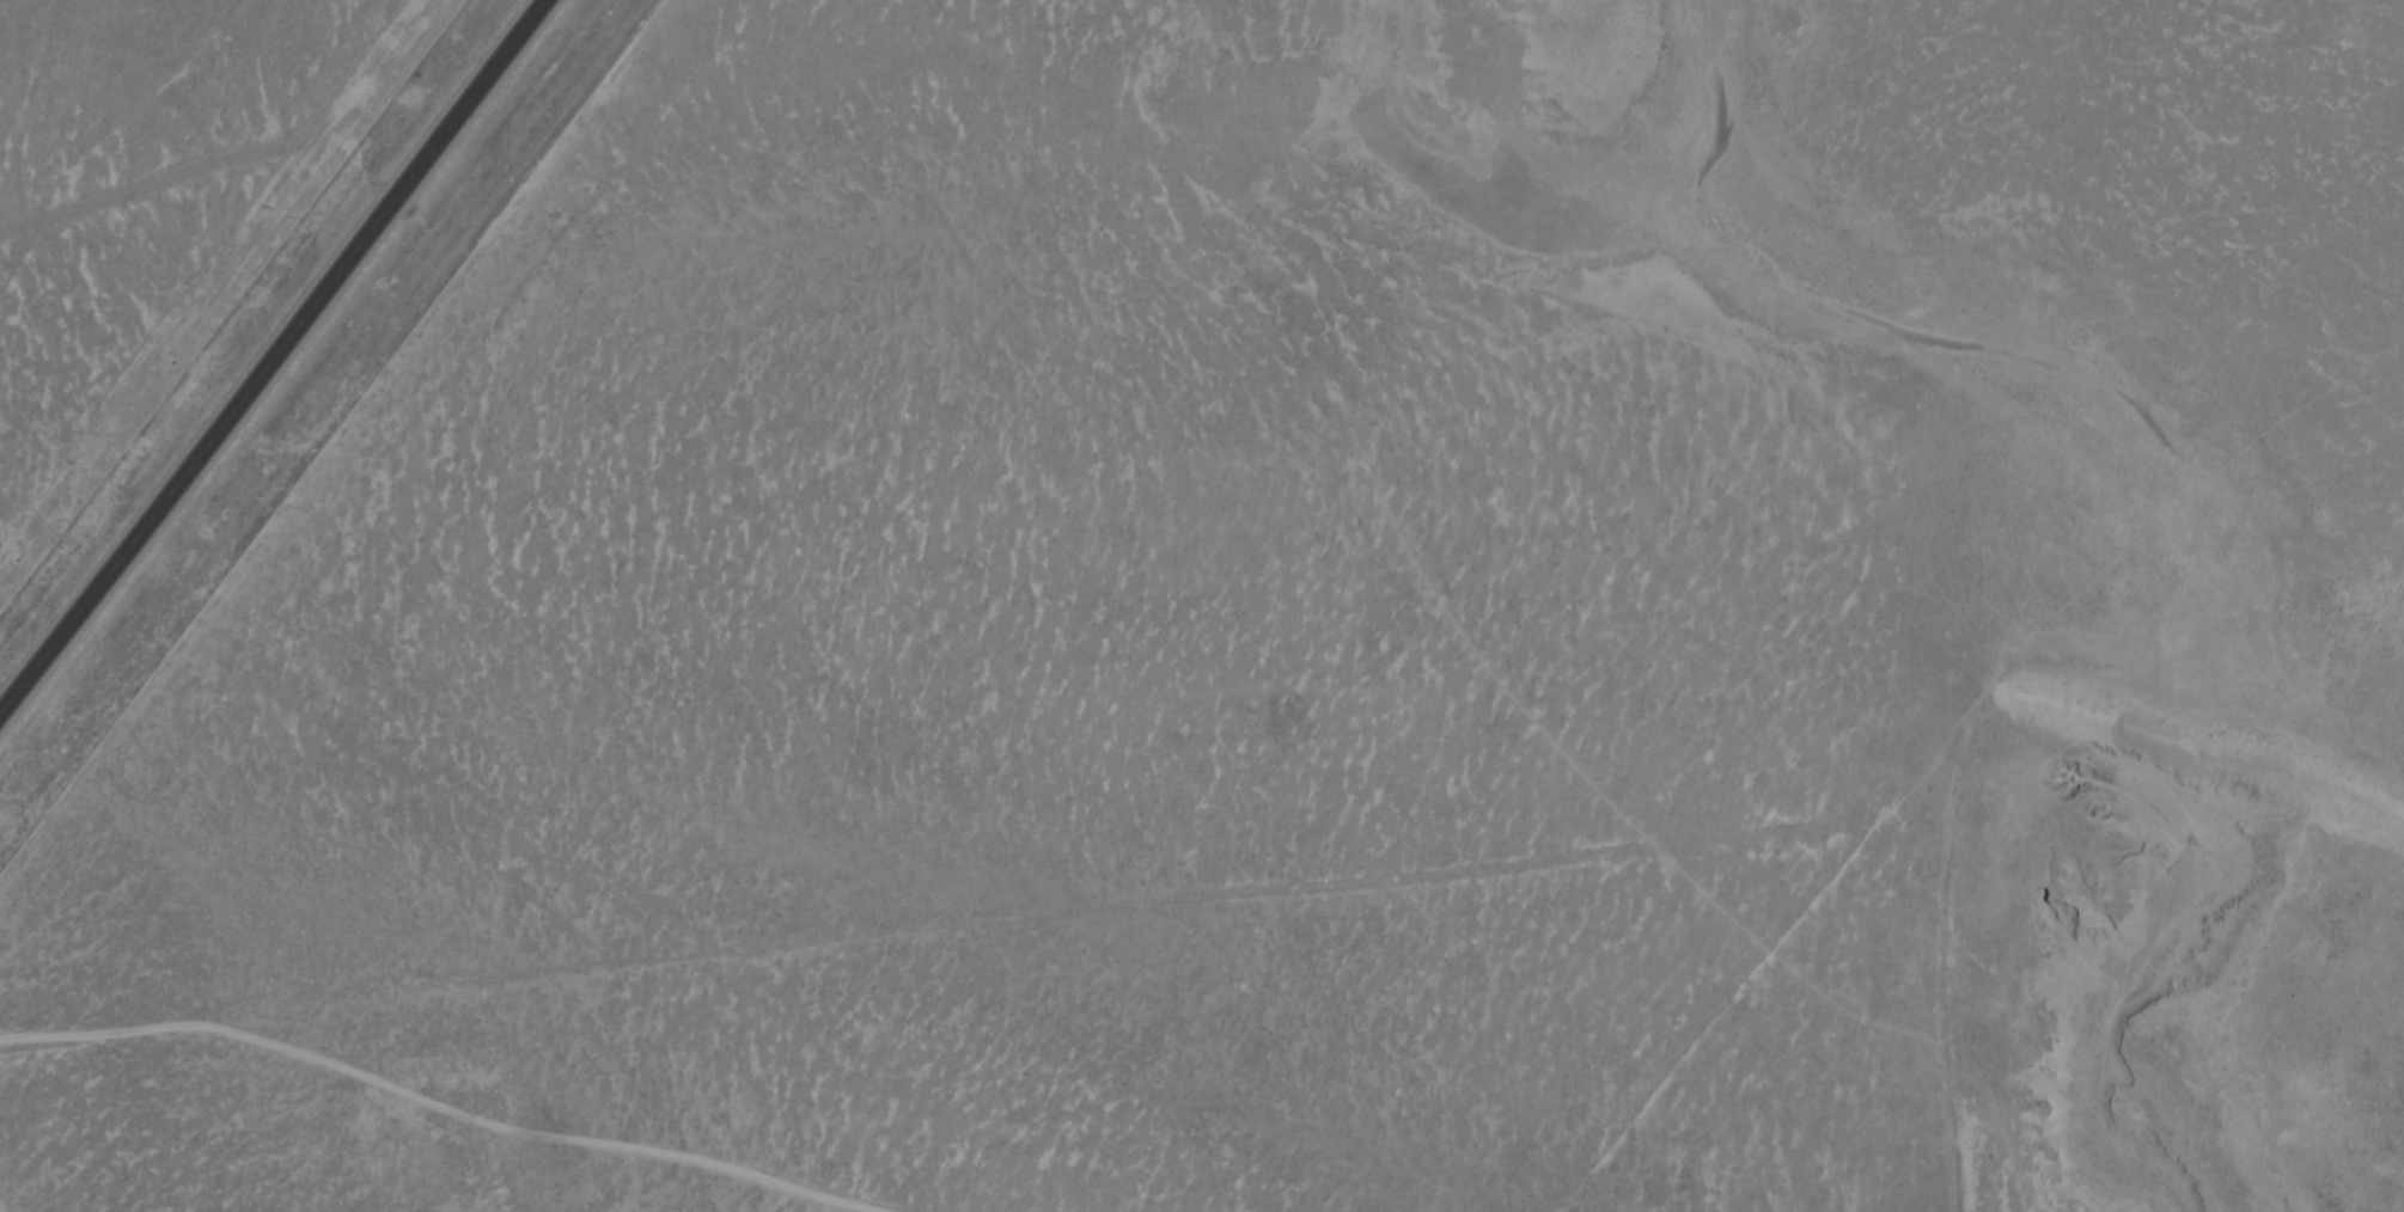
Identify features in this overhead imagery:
road: (274, 359)
road: (440, 1115)

